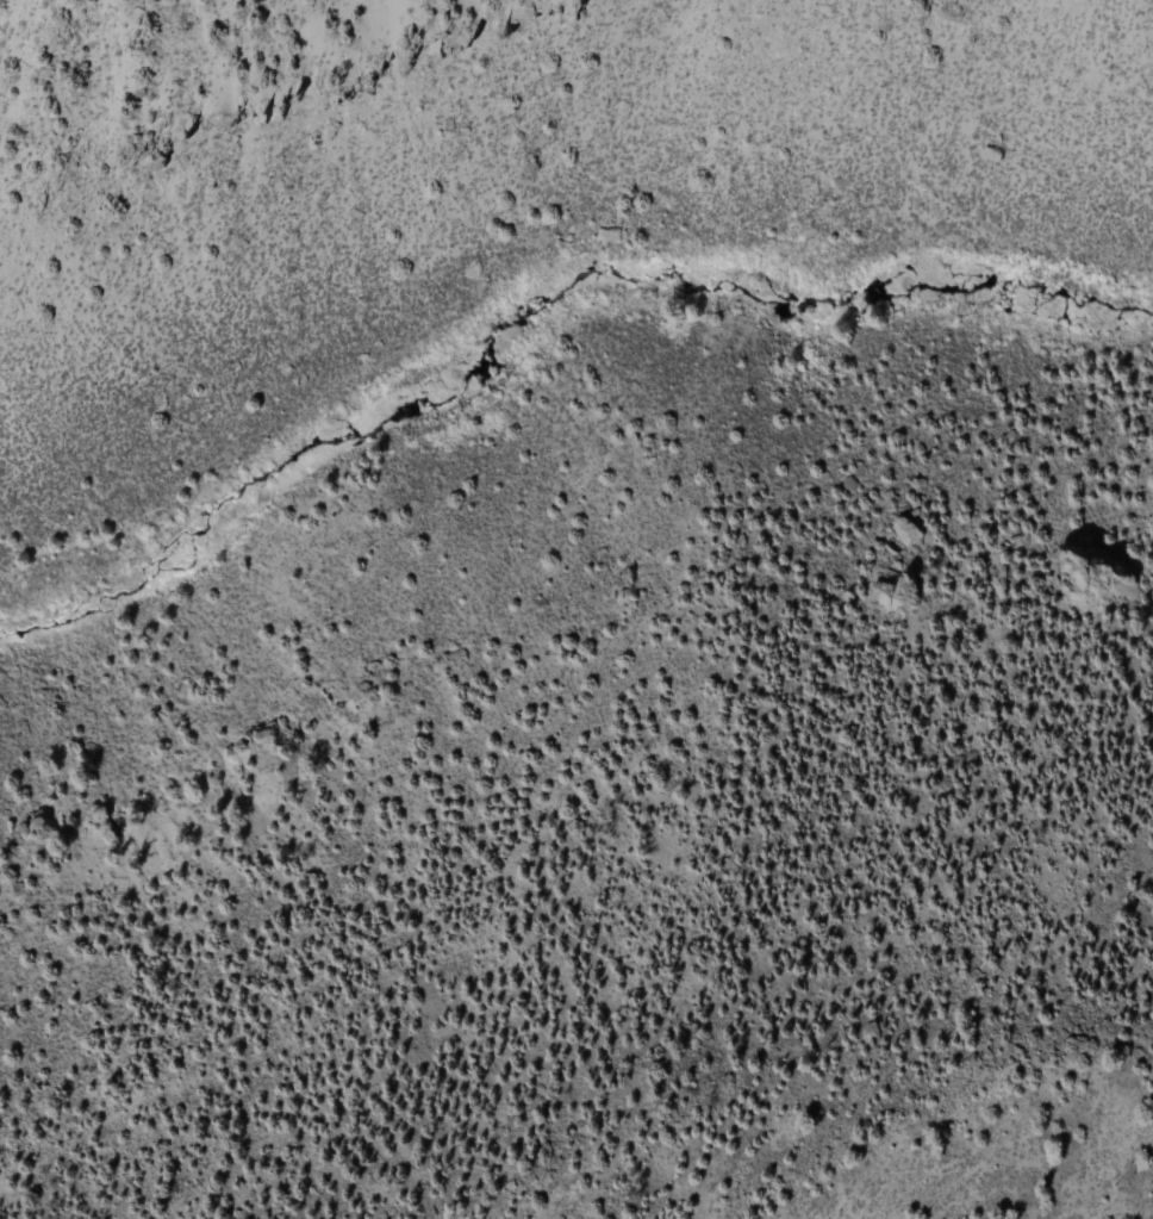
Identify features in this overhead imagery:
road: (460, 927)

